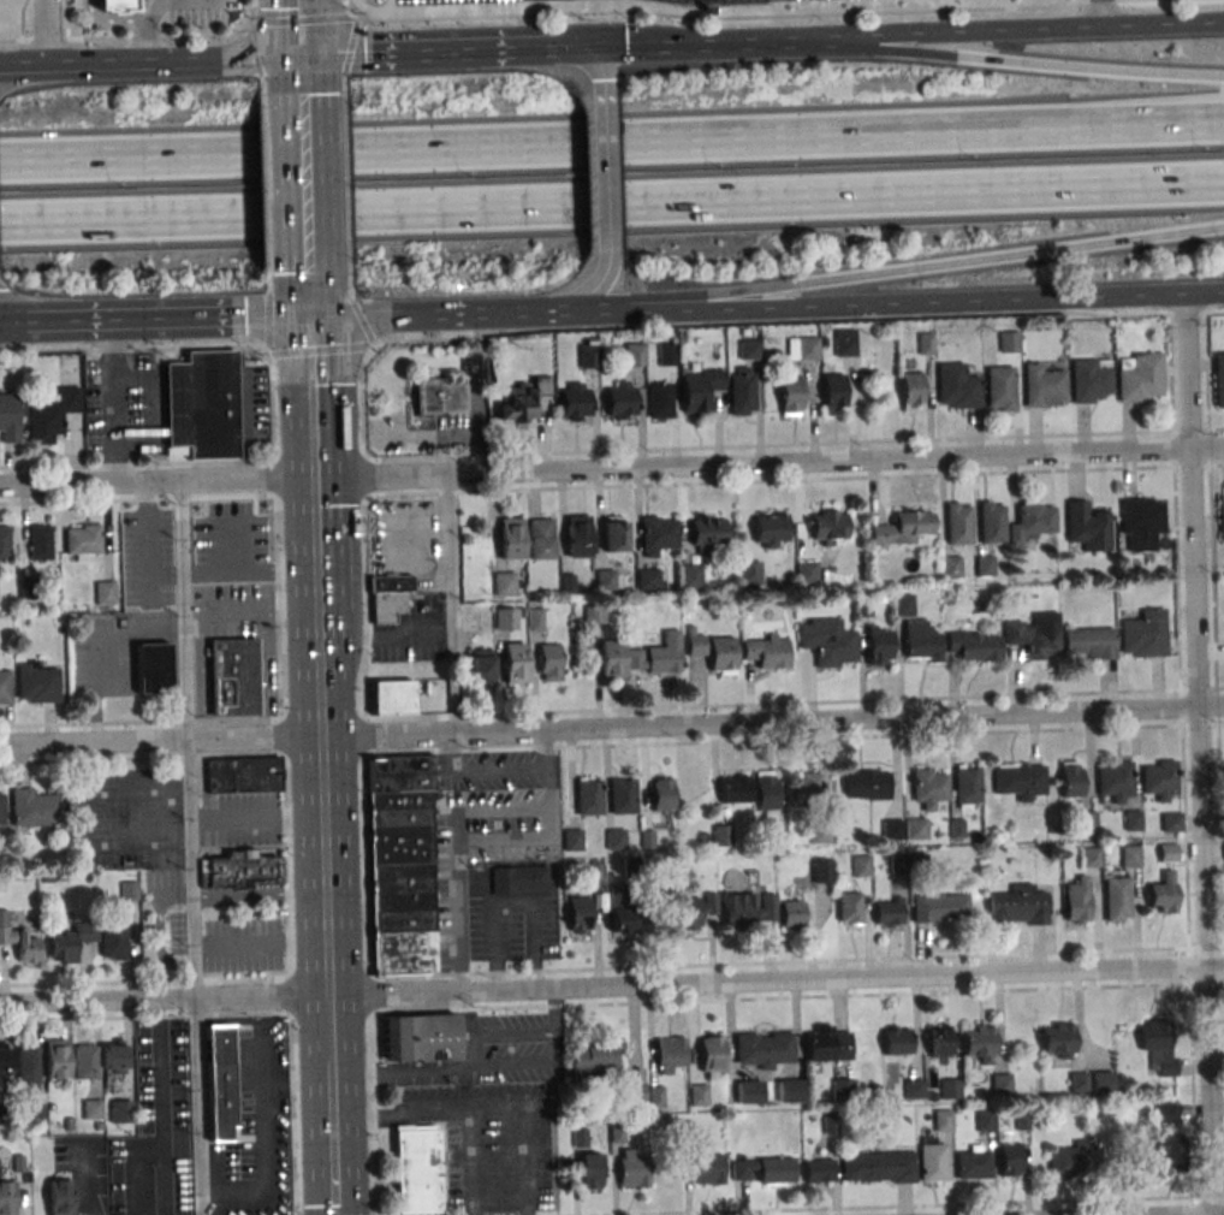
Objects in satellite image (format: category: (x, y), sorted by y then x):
road: (231, 1)
road: (165, 2)
road: (198, 4)
building: (117, 6)
road: (250, 12)
road: (1107, 14)
road: (779, 16)
road: (67, 19)
road: (121, 19)
road: (22, 20)
road: (298, 29)
road: (1028, 32)
road: (42, 34)
road: (127, 38)
road: (143, 41)
road: (350, 46)
road: (700, 46)
traffic signals: (566, 49)
road: (432, 53)
road: (252, 55)
traffic signals: (299, 58)
road: (577, 58)
road: (1028, 59)
road: (171, 63)
road: (20, 69)
road: (299, 70)
road: (7, 77)
road: (344, 97)
road: (263, 100)
road: (602, 102)
road: (612, 141)
road: (345, 149)
road: (266, 152)
road: (303, 191)
road: (612, 203)
road: (347, 213)
road: (267, 215)
road: (605, 223)
road: (1012, 255)
road: (268, 269)
road: (349, 272)
road: (1205, 292)
road: (749, 294)
road: (940, 302)
road: (571, 304)
road: (307, 308)
road: (628, 308)
road: (507, 313)
road: (381, 314)
traffic signals: (308, 315)
road: (171, 319)
road: (10, 320)
road: (269, 320)
road: (798, 321)
road: (362, 322)
road: (17, 325)
traffic signals: (19, 325)
building: (1009, 340)
building: (824, 342)
building: (844, 342)
building: (925, 343)
road: (322, 349)
building: (748, 349)
road: (133, 350)
building: (802, 350)
building: (634, 354)
building: (666, 354)
building: (587, 355)
building: (1140, 377)
building: (1219, 379)
building: (1091, 380)
building: (956, 386)
building: (1044, 386)
building: (699, 389)
building: (1000, 389)
building: (742, 390)
building: (910, 390)
building: (833, 393)
building: (790, 396)
road: (309, 397)
building: (438, 397)
building: (521, 399)
building: (620, 399)
building: (660, 399)
building: (574, 403)
building: (203, 407)
building: (50, 415)
building: (8, 417)
road: (792, 445)
road: (137, 464)
road: (612, 470)
road: (792, 480)
road: (137, 499)
building: (1222, 517)
building: (1030, 521)
building: (991, 522)
building: (957, 523)
building: (1141, 523)
building: (827, 526)
building: (1087, 526)
building: (902, 527)
building: (770, 531)
building: (613, 534)
building: (707, 534)
building: (577, 537)
building: (656, 537)
building: (511, 538)
building: (541, 538)
building: (467, 540)
building: (40, 543)
building: (83, 543)
building: (4, 544)
road: (313, 552)
building: (984, 565)
building: (951, 567)
building: (807, 570)
building: (749, 571)
road: (248, 575)
building: (690, 576)
building: (607, 577)
building: (648, 579)
building: (504, 582)
building: (568, 583)
building: (28, 589)
building: (105, 594)
building: (387, 595)
road: (450, 603)
building: (902, 604)
building: (863, 607)
road: (252, 611)
building: (594, 614)
building: (505, 618)
building: (539, 618)
building: (24, 622)
road: (1214, 630)
building: (1143, 634)
building: (1034, 635)
building: (827, 641)
building: (920, 641)
building: (1088, 642)
building: (878, 644)
building: (972, 645)
building: (766, 651)
building: (713, 652)
building: (655, 654)
building: (611, 659)
building: (516, 662)
building: (548, 662)
building: (480, 663)
building: (153, 669)
building: (234, 678)
road: (203, 682)
building: (36, 684)
building: (5, 688)
building: (392, 697)
road: (792, 703)
road: (141, 723)
road: (612, 724)
road: (792, 740)
road: (448, 752)
road: (1195, 754)
road: (1182, 755)
road: (141, 759)
road: (501, 770)
building: (242, 776)
road: (361, 778)
building: (1070, 778)
building: (1020, 780)
building: (1113, 780)
building: (1160, 780)
road: (283, 781)
building: (866, 784)
building: (967, 786)
building: (928, 787)
building: (733, 789)
building: (661, 793)
building: (804, 793)
building: (765, 794)
building: (589, 795)
building: (623, 795)
road: (542, 808)
building: (34, 810)
building: (1, 811)
road: (81, 819)
building: (1131, 819)
building: (1170, 822)
building: (1087, 823)
building: (916, 829)
building: (956, 829)
building: (1053, 829)
building: (893, 830)
building: (820, 834)
building: (777, 836)
building: (723, 837)
building: (614, 838)
building: (572, 840)
building: (648, 841)
road: (190, 849)
building: (1166, 852)
building: (1223, 852)
building: (1129, 855)
building: (1091, 857)
building: (402, 863)
building: (898, 864)
building: (917, 864)
building: (861, 865)
road: (322, 869)
building: (593, 870)
building: (821, 870)
building: (237, 871)
building: (632, 872)
building: (47, 878)
building: (518, 878)
building: (1161, 893)
building: (129, 897)
building: (1077, 899)
building: (1116, 899)
road: (512, 905)
building: (1017, 905)
building: (849, 907)
building: (939, 907)
building: (747, 908)
building: (695, 911)
building: (887, 911)
building: (620, 913)
building: (791, 913)
building: (580, 914)
building: (18, 941)
building: (114, 942)
building: (71, 943)
road: (796, 962)
road: (144, 982)
road: (611, 986)
road: (796, 997)
road: (464, 1012)
road: (145, 1018)
building: (420, 1038)
building: (896, 1039)
building: (1057, 1039)
building: (938, 1042)
building: (826, 1043)
building: (979, 1043)
building: (1158, 1044)
building: (765, 1051)
building: (670, 1055)
building: (709, 1056)
building: (592, 1057)
building: (114, 1060)
building: (143, 1060)
building: (57, 1061)
building: (5, 1063)
building: (85, 1063)
building: (28, 1069)
building: (1000, 1083)
building: (1077, 1083)
building: (1103, 1083)
building: (219, 1084)
building: (842, 1087)
building: (913, 1087)
building: (949, 1087)
building: (747, 1091)
building: (789, 1091)
building: (873, 1092)
building: (635, 1093)
building: (699, 1093)
building: (655, 1097)
building: (617, 1102)
building: (37, 1109)
building: (93, 1109)
building: (160, 1112)
building: (1166, 1112)
building: (121, 1113)
road: (423, 1113)
road: (521, 1114)
building: (848, 1115)
building: (7, 1118)
building: (984, 1119)
building: (943, 1120)
building: (1021, 1120)
building: (67, 1124)
building: (831, 1126)
building: (616, 1133)
building: (682, 1134)
building: (580, 1139)
building: (1167, 1149)
building: (236, 1151)
building: (931, 1158)
building: (1009, 1158)
building: (1074, 1161)
building: (972, 1162)
building: (18, 1164)
road: (331, 1164)
road: (525, 1166)
building: (706, 1167)
building: (878, 1167)
building: (417, 1169)
building: (631, 1169)
building: (762, 1169)
building: (277, 1170)
building: (589, 1170)
building: (818, 1170)
building: (118, 1193)
road: (1210, 1197)
building: (60, 1198)
building: (7, 1199)
road: (920, 1205)
road: (1196, 1205)
road: (1210, 1214)

